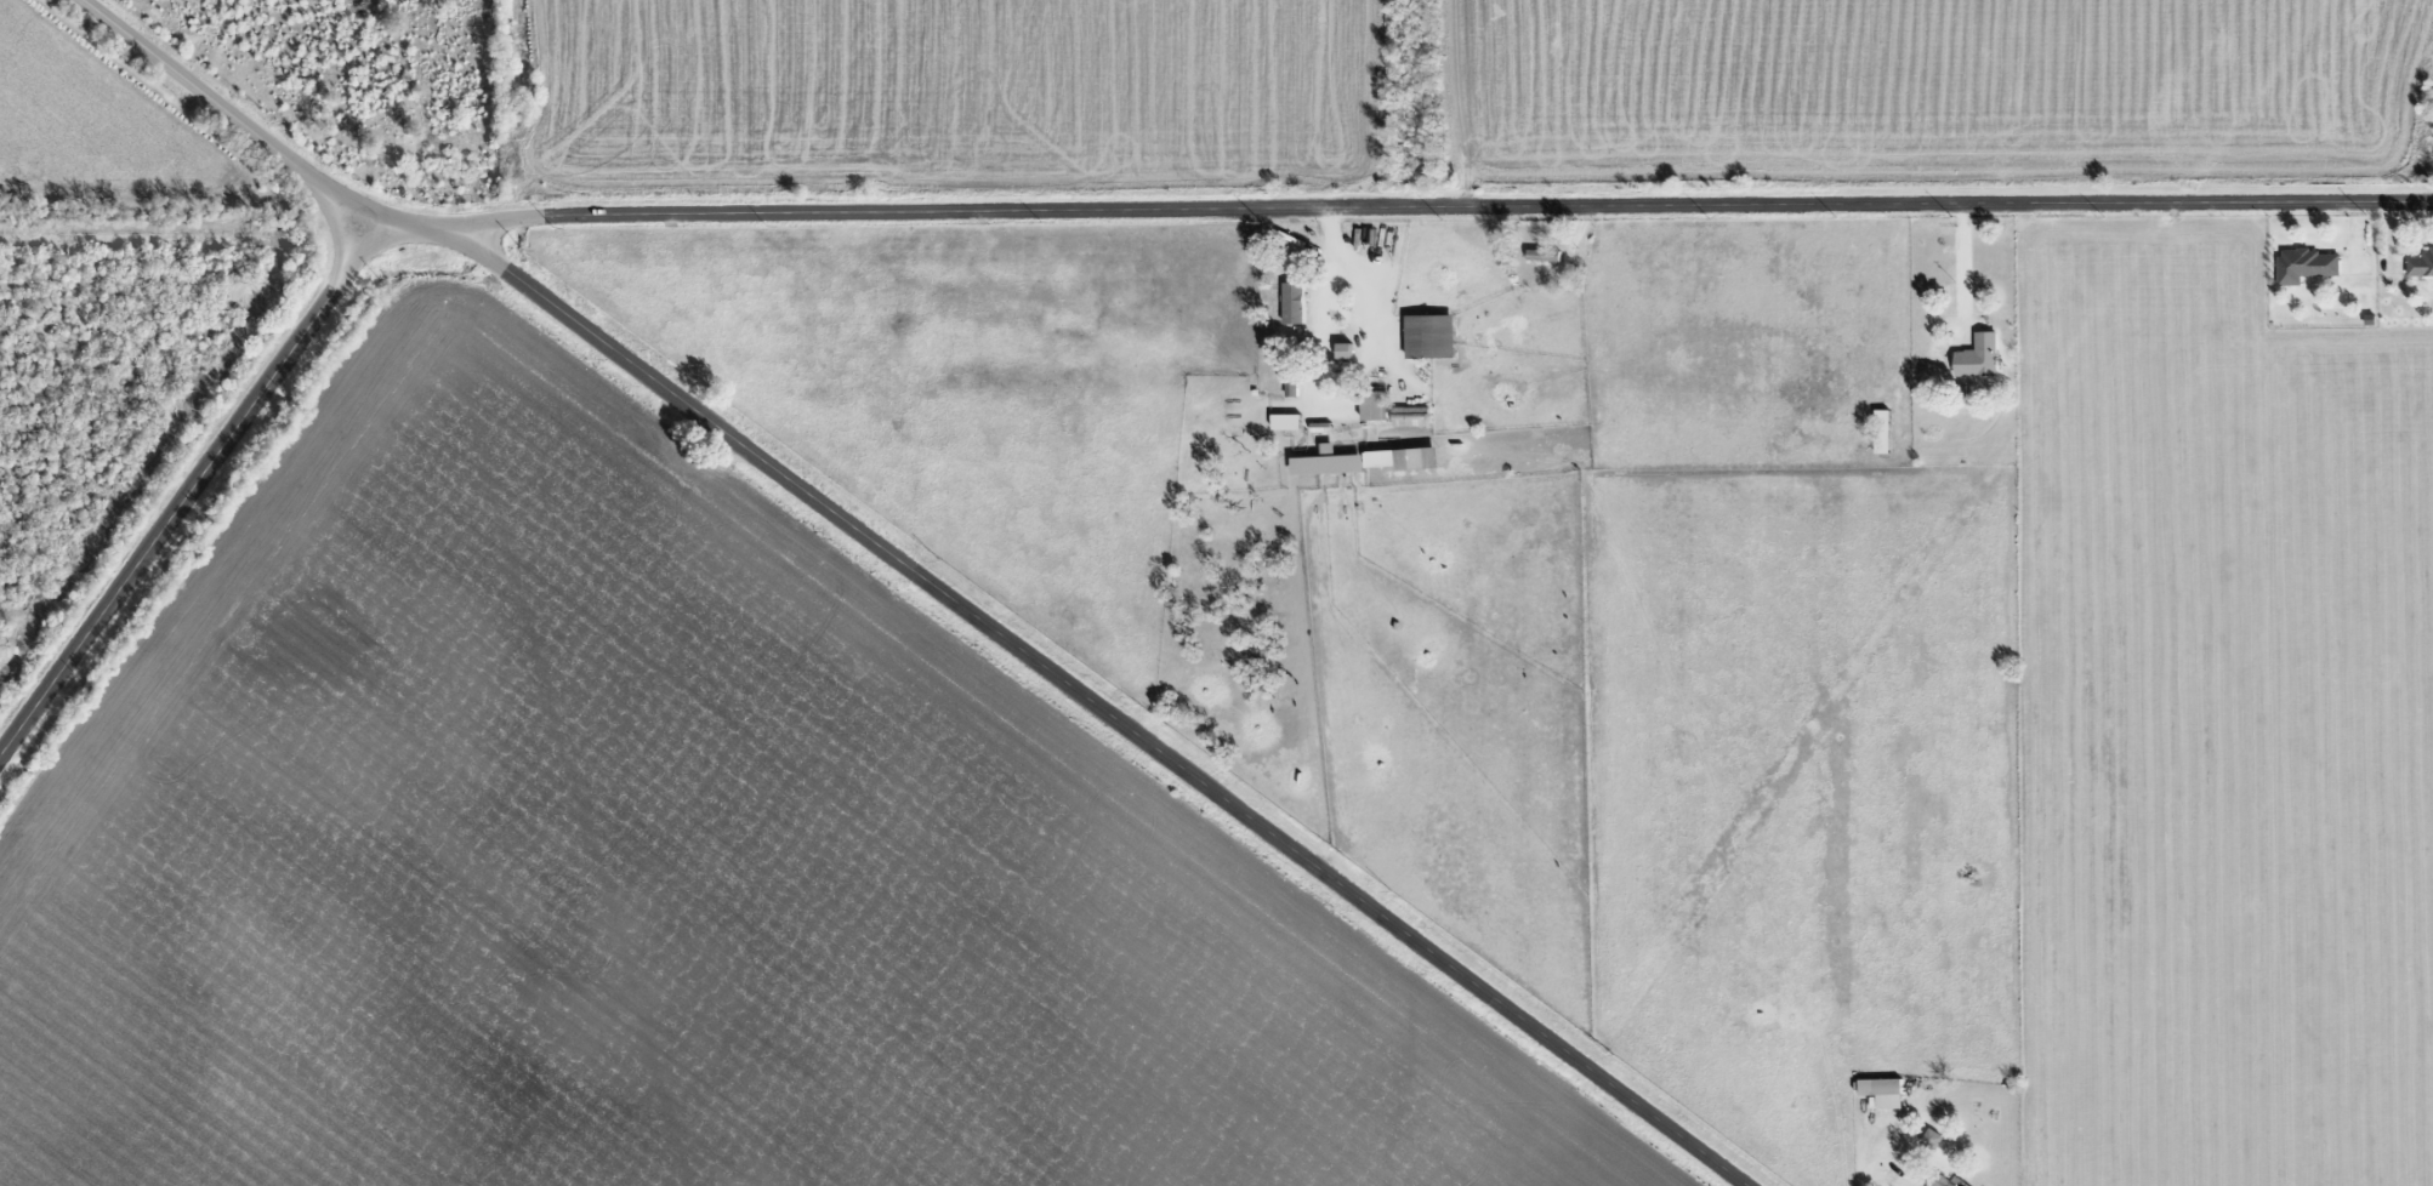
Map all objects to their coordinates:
road: (226, 113)
road: (1431, 209)
building: (2304, 267)
building: (2420, 267)
road: (1961, 269)
building: (1292, 304)
building: (1429, 337)
building: (1977, 358)
building: (1286, 423)
building: (1881, 433)
building: (1391, 461)
road: (192, 486)
road: (1069, 686)
building: (1882, 1093)
building: (1931, 1140)
building: (1939, 1181)

